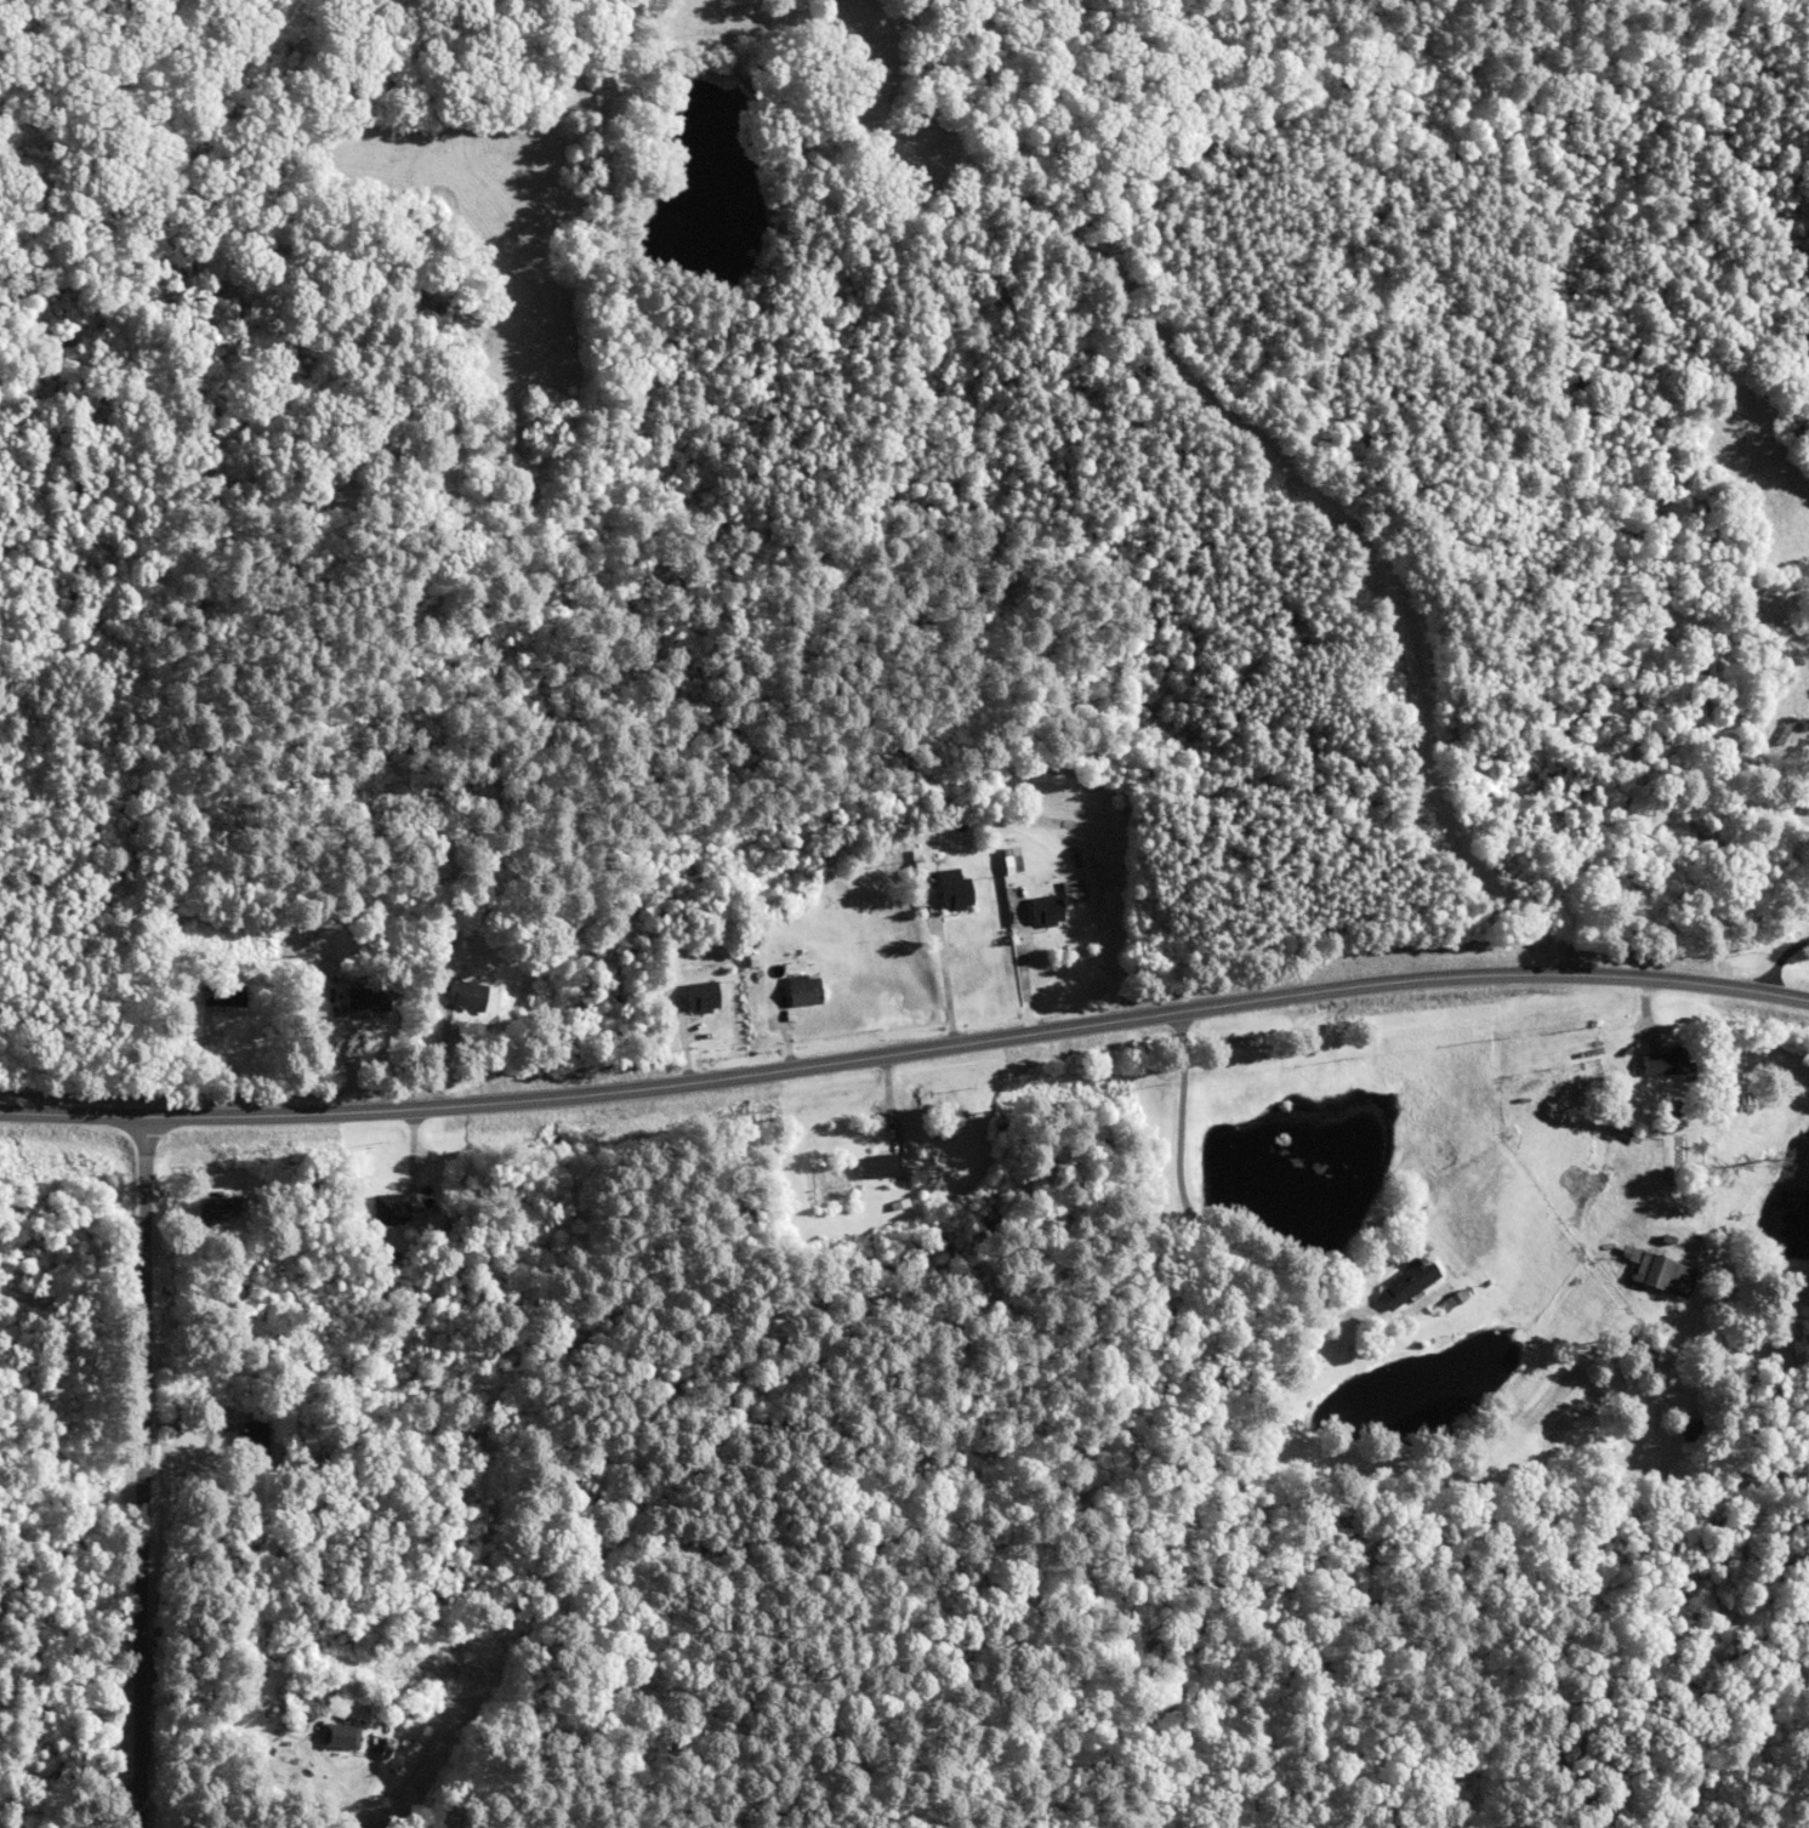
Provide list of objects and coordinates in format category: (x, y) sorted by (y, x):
road: (554, 183)
building: (1808, 748)
building: (1016, 860)
building: (955, 889)
building: (1077, 889)
building: (1047, 910)
building: (801, 990)
building: (226, 996)
building: (463, 996)
building: (700, 996)
building: (368, 998)
road: (906, 1048)
building: (1656, 1063)
building: (874, 1166)
building: (394, 1207)
building: (214, 1208)
building: (1660, 1275)
building: (1400, 1282)
building: (1639, 1355)
building: (249, 1441)
road: (135, 1468)
building: (281, 1697)
building: (329, 1736)
road: (436, 1805)

